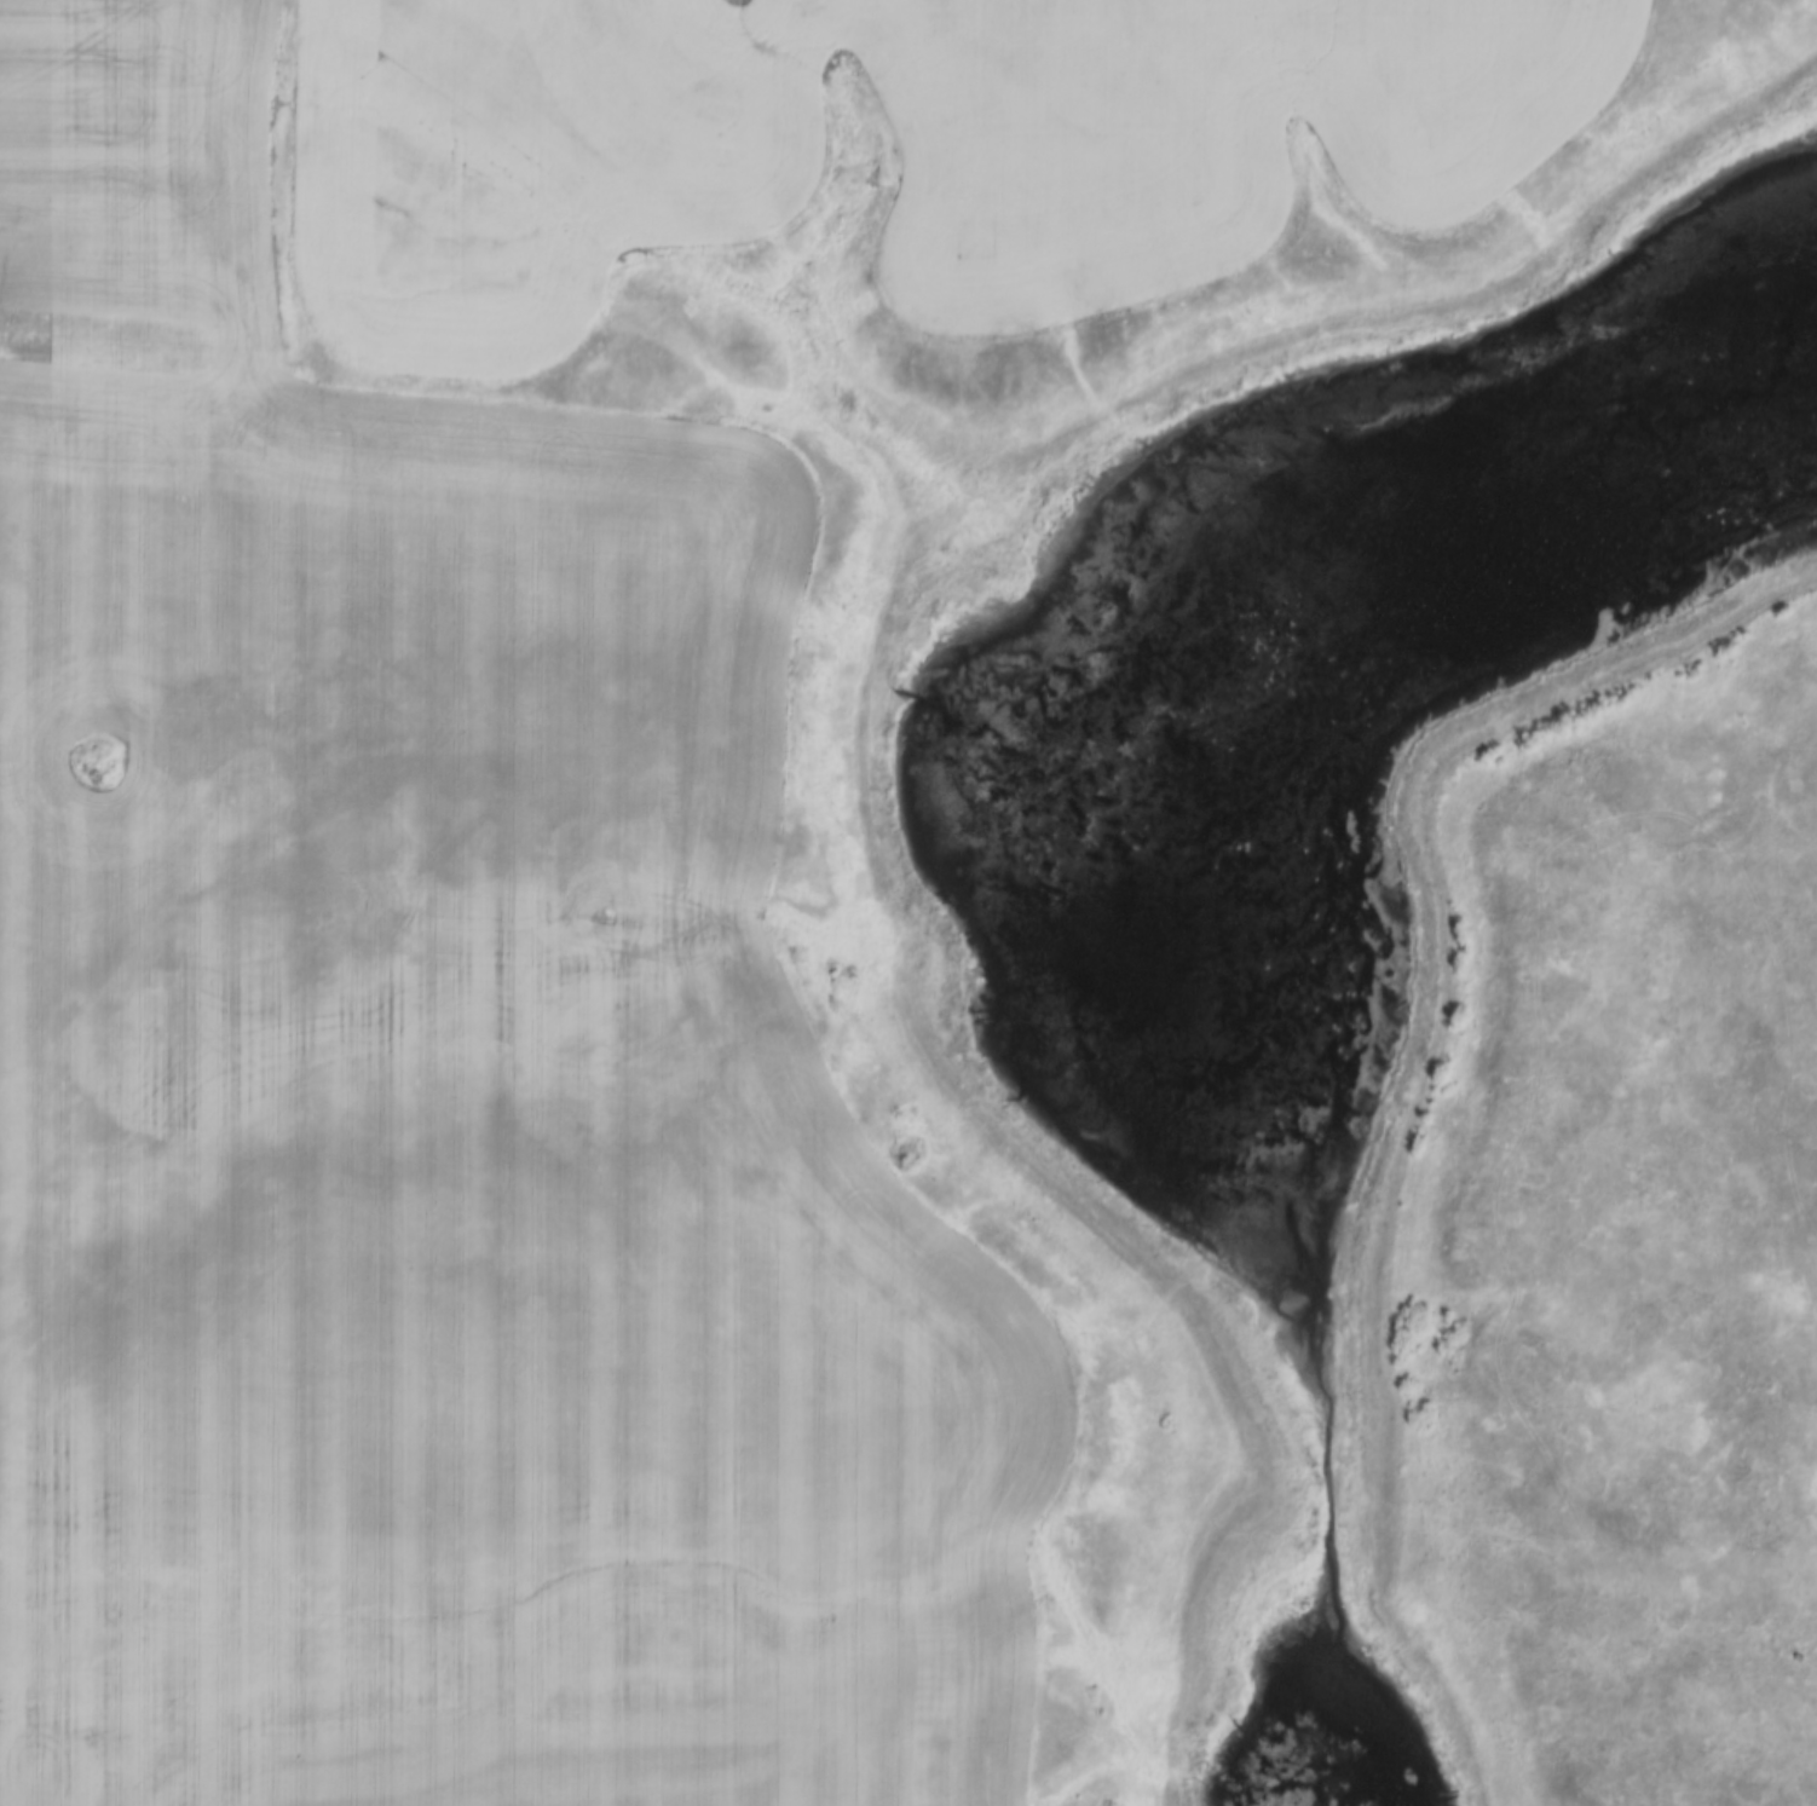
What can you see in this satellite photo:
road: (310, 344)

